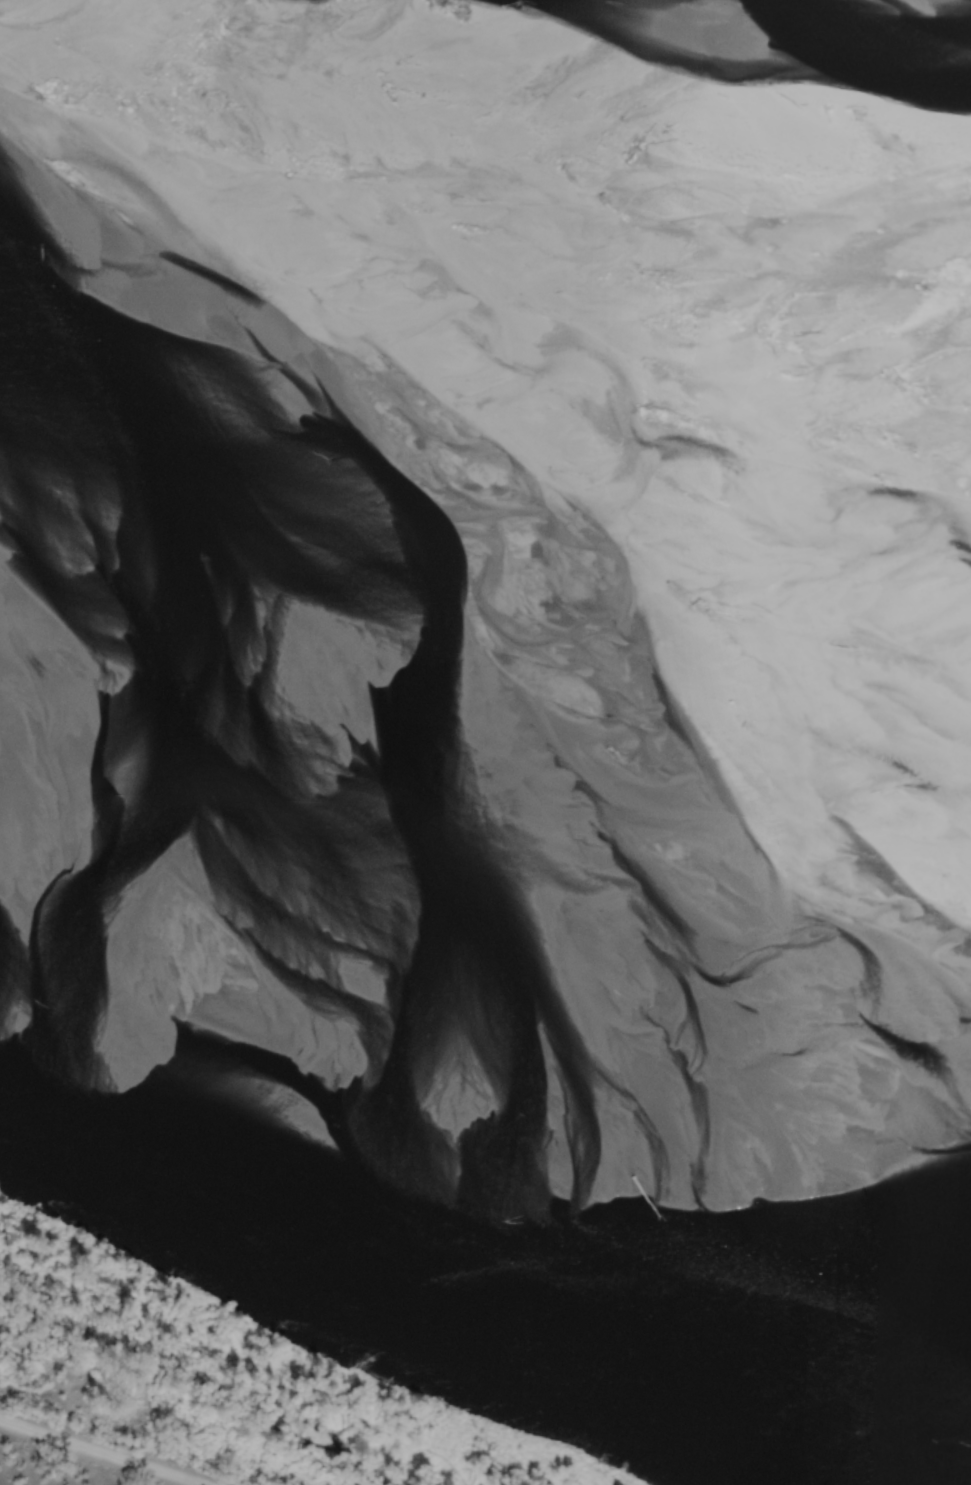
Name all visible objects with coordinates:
river: (491, 755)
road: (108, 1453)

